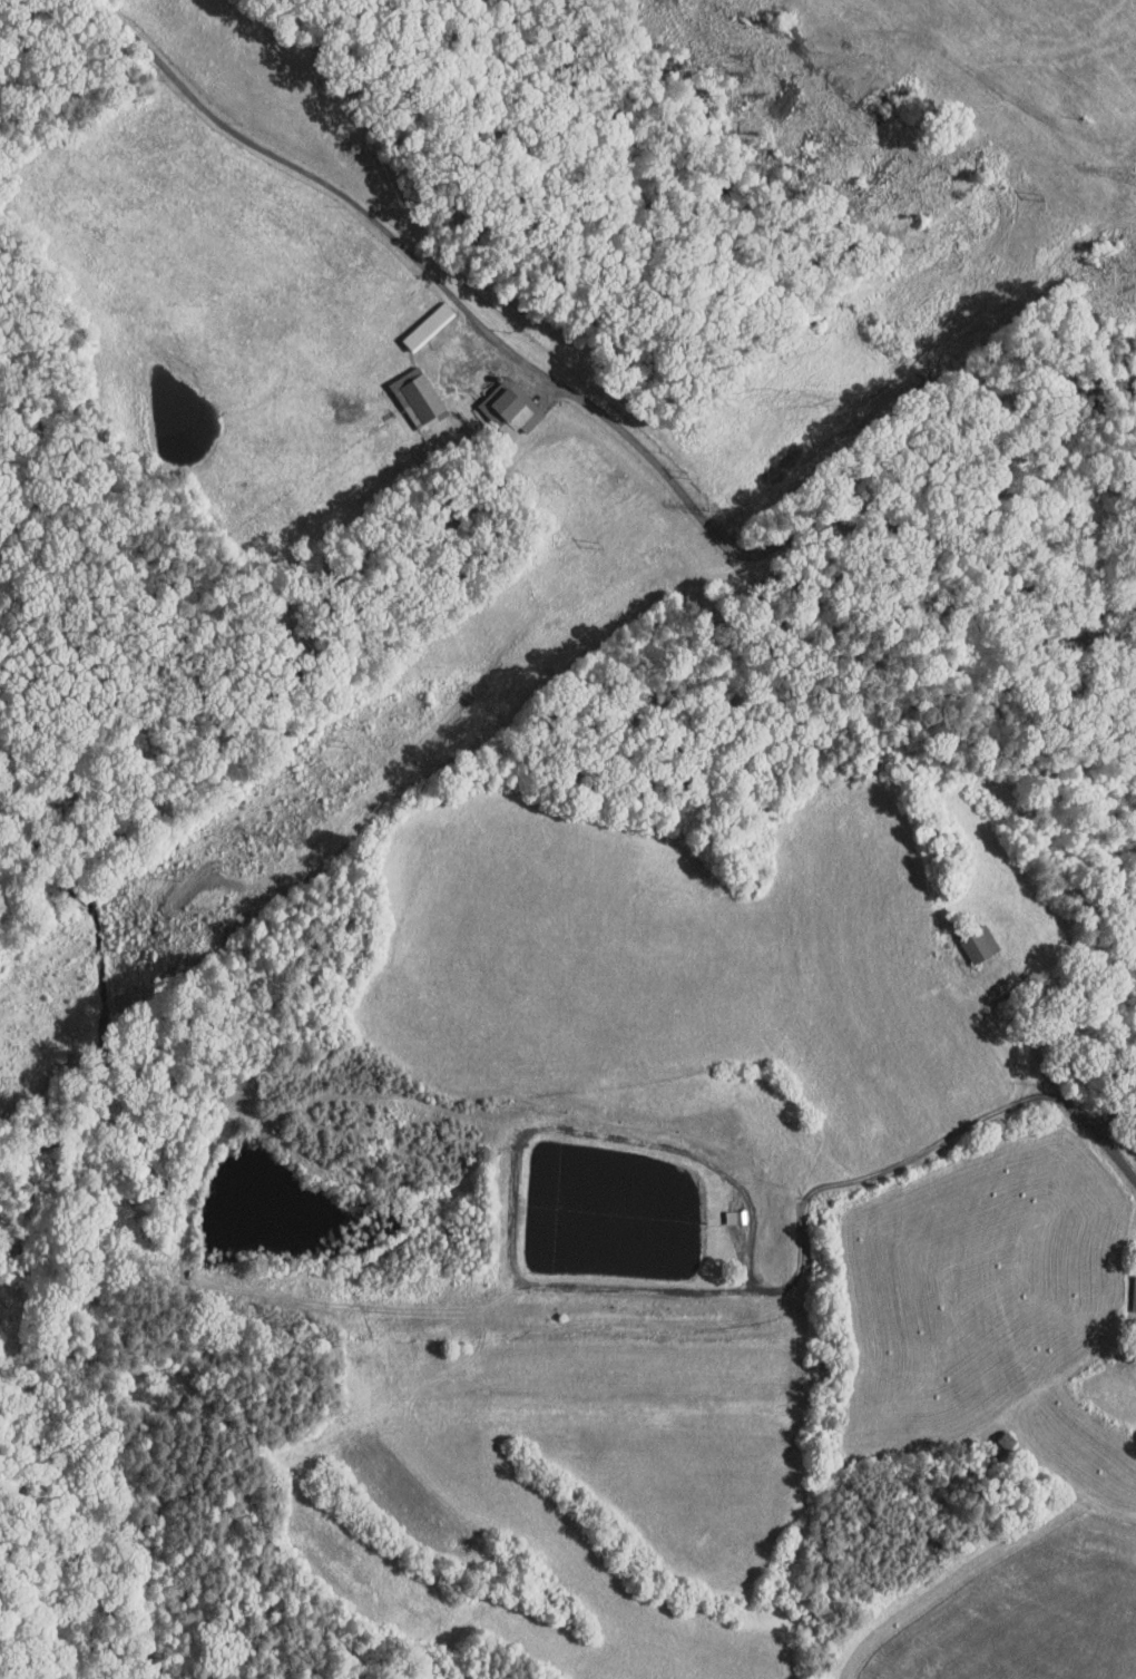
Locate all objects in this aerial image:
building: (408, 391)
road: (582, 399)
building: (499, 401)
power tower: (717, 514)
power tower: (302, 840)
building: (968, 936)
road: (918, 1152)
building: (723, 1209)
building: (1128, 1286)

